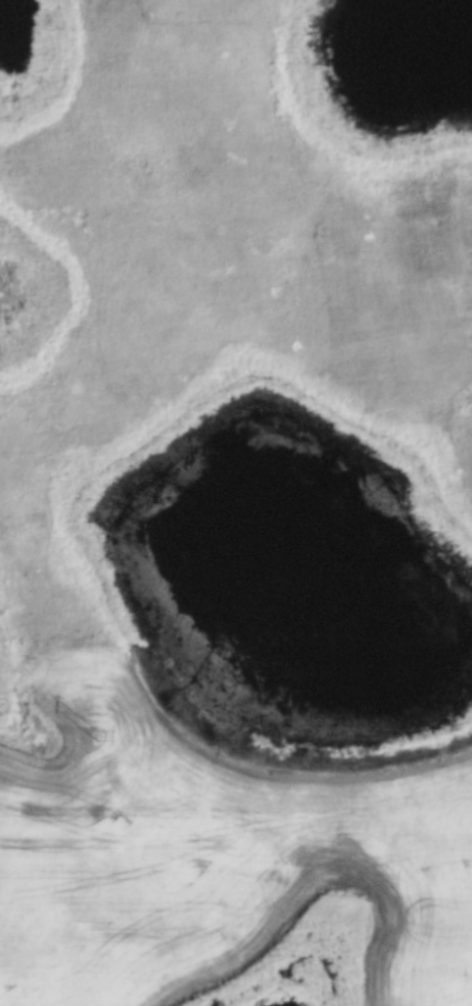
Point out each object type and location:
power tower: (94, 736)

